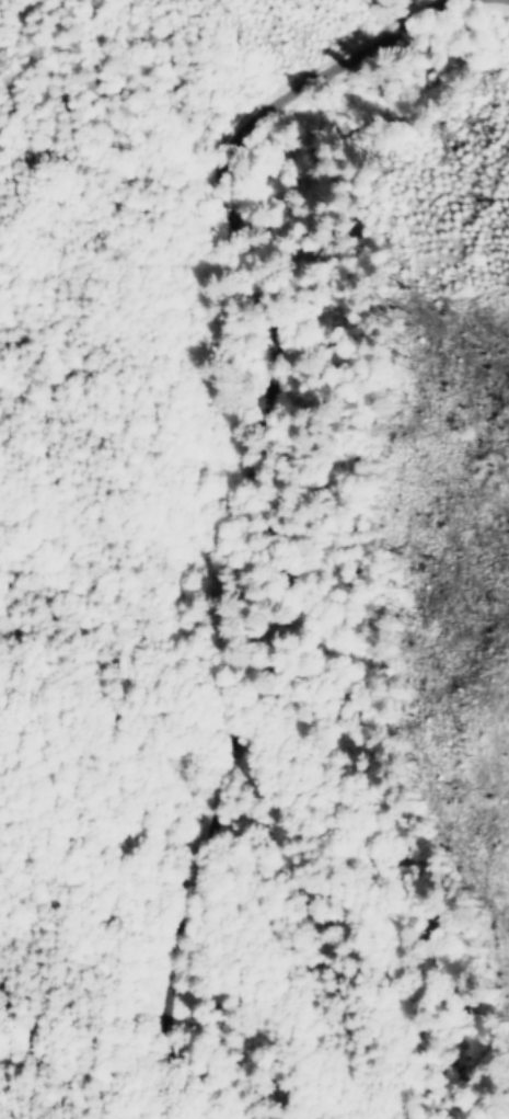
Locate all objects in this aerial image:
road: (233, 540)

